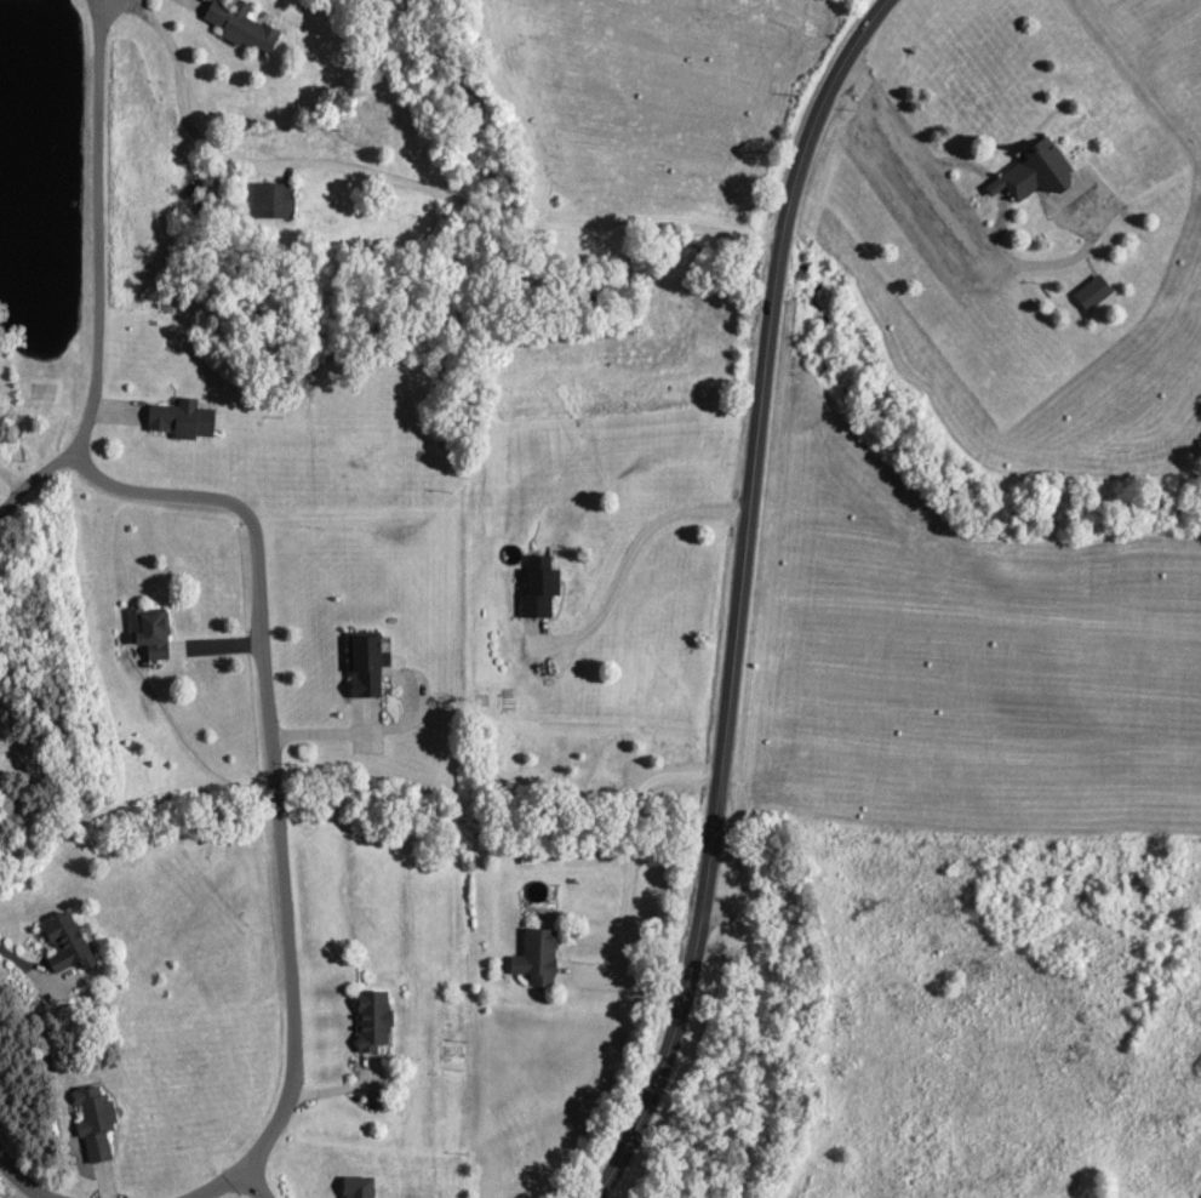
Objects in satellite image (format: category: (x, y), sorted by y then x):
building: (239, 28)
building: (1030, 176)
road: (399, 179)
building: (270, 202)
road: (102, 276)
building: (1091, 295)
building: (179, 421)
road: (16, 501)
road: (634, 557)
building: (537, 591)
road: (745, 598)
building: (148, 633)
road: (223, 637)
building: (362, 667)
road: (366, 731)
road: (275, 753)
building: (64, 946)
building: (534, 959)
road: (34, 969)
building: (371, 1022)
road: (770, 1037)
building: (92, 1123)
road: (23, 1177)
road: (258, 1182)
road: (218, 1183)
building: (355, 1187)

